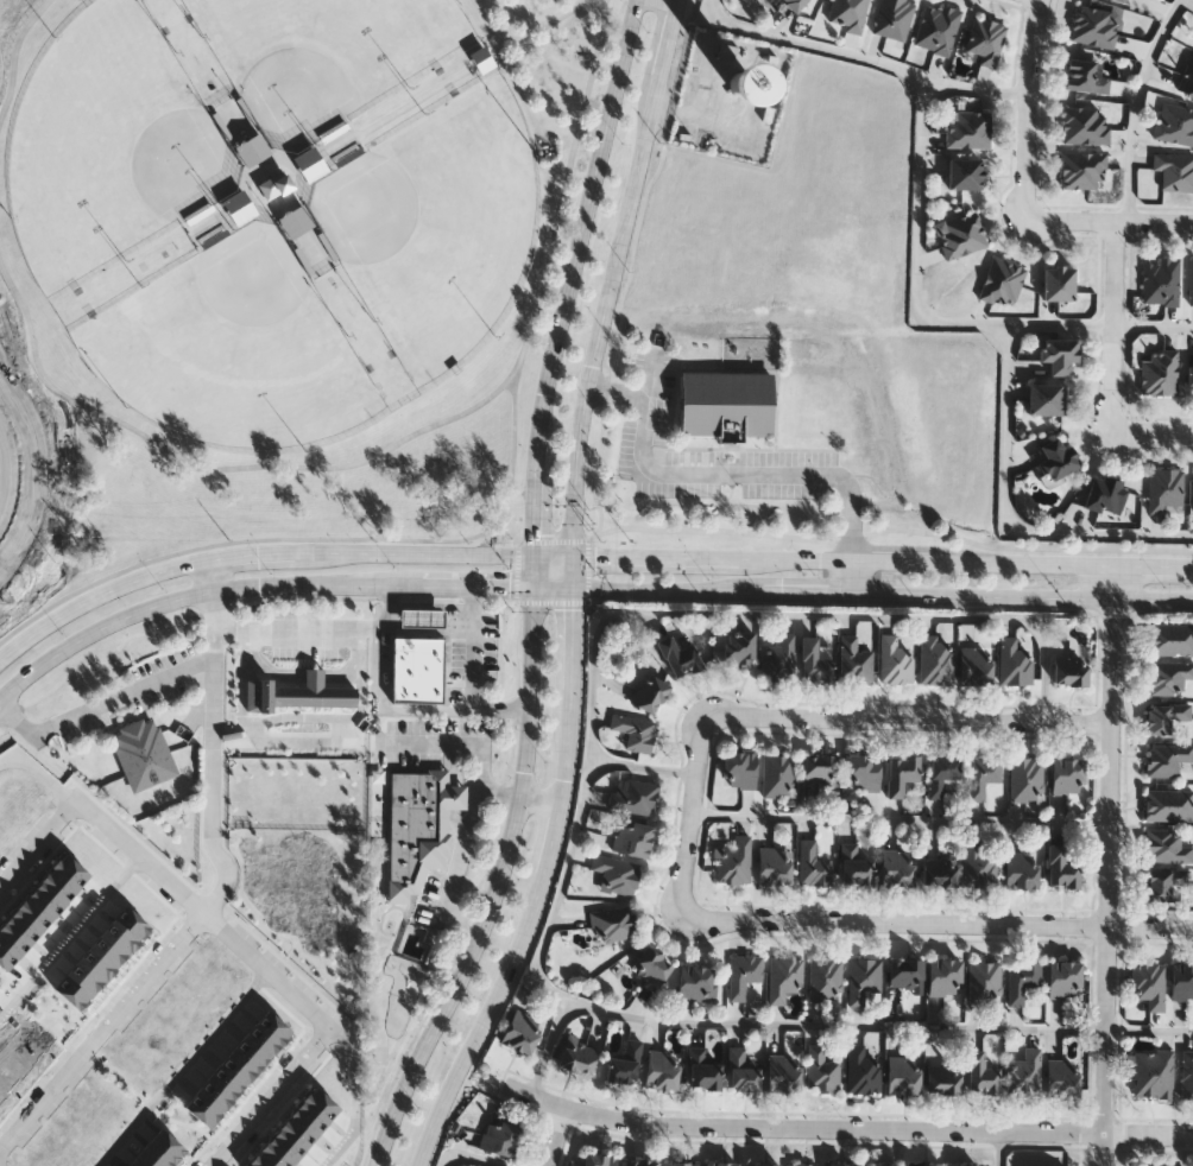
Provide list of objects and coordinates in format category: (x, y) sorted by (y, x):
building: (1119, 0)
building: (795, 4)
building: (848, 14)
building: (892, 18)
road: (487, 24)
road: (506, 25)
road: (541, 25)
building: (1093, 26)
building: (936, 27)
building: (985, 40)
park: (327, 56)
road: (861, 58)
road: (15, 59)
building: (484, 62)
building: (1084, 77)
building: (1186, 80)
building: (750, 89)
water tower: (741, 95)
road: (1134, 104)
road: (1025, 106)
road: (397, 114)
building: (1174, 125)
building: (1084, 127)
building: (967, 131)
park: (111, 148)
building: (255, 151)
building: (313, 166)
building: (1081, 171)
building: (1174, 172)
building: (965, 173)
building: (274, 190)
road: (255, 201)
building: (241, 210)
road: (1110, 218)
building: (298, 223)
road: (582, 223)
park: (441, 226)
building: (961, 235)
park: (286, 256)
road: (626, 266)
building: (1002, 283)
building: (1160, 283)
building: (1191, 283)
building: (1059, 284)
road: (608, 292)
road: (1113, 322)
road: (933, 324)
park: (235, 351)
building: (701, 351)
building: (1058, 355)
building: (1159, 374)
building: (1189, 376)
stadium: (4, 382)
building: (1047, 400)
road: (617, 403)
building: (726, 404)
road: (1154, 430)
road: (398, 444)
road: (511, 450)
building: (1056, 458)
parking lot: (718, 461)
road: (33, 468)
road: (686, 481)
building: (1163, 489)
building: (1105, 495)
road: (535, 503)
road: (1010, 513)
road: (857, 515)
road: (892, 531)
road: (592, 538)
road: (550, 539)
road: (244, 549)
road: (253, 555)
traffic signals: (534, 558)
road: (551, 558)
traffic signals: (569, 559)
road: (880, 559)
road: (587, 571)
road: (534, 572)
road: (513, 574)
road: (209, 576)
road: (854, 576)
road: (476, 585)
traffic signals: (534, 587)
road: (551, 588)
traffic signals: (569, 589)
road: (667, 590)
road: (809, 592)
road: (196, 595)
road: (1023, 595)
road: (549, 603)
road: (442, 613)
road: (799, 613)
building: (423, 620)
road: (293, 629)
building: (1170, 638)
building: (739, 647)
building: (680, 653)
building: (778, 658)
building: (936, 658)
building: (854, 659)
building: (895, 659)
building: (814, 661)
building: (1014, 661)
road: (471, 665)
building: (976, 666)
building: (1071, 668)
building: (417, 671)
building: (1168, 676)
building: (650, 692)
building: (292, 697)
road: (121, 698)
road: (389, 711)
building: (1164, 716)
road: (814, 717)
road: (15, 722)
building: (635, 730)
road: (452, 744)
road: (299, 750)
building: (140, 755)
road: (208, 756)
building: (1166, 758)
road: (643, 766)
building: (821, 768)
building: (739, 769)
building: (864, 772)
building: (902, 772)
building: (941, 773)
building: (777, 774)
building: (983, 774)
building: (1068, 774)
road: (36, 778)
building: (1025, 778)
building: (631, 794)
building: (1168, 804)
road: (513, 818)
road: (901, 819)
building: (417, 828)
building: (633, 837)
road: (461, 838)
road: (38, 843)
building: (1166, 845)
building: (776, 857)
building: (733, 861)
road: (1109, 863)
building: (813, 864)
building: (856, 864)
building: (978, 864)
building: (1061, 866)
building: (897, 867)
building: (67, 868)
building: (1022, 869)
building: (617, 872)
building: (939, 873)
building: (56, 881)
building: (1163, 883)
road: (561, 886)
road: (536, 887)
building: (44, 895)
road: (246, 908)
building: (32, 910)
road: (204, 912)
building: (128, 921)
building: (20, 923)
building: (612, 923)
road: (940, 923)
building: (116, 936)
building: (11, 938)
road: (70, 939)
building: (105, 950)
building: (5, 956)
building: (93, 964)
building: (652, 965)
building: (905, 971)
building: (743, 972)
building: (945, 975)
building: (784, 976)
building: (80, 977)
building: (825, 977)
building: (864, 977)
building: (1065, 977)
building: (1022, 978)
building: (1182, 980)
building: (985, 981)
building: (696, 982)
building: (1149, 983)
building: (69, 991)
road: (835, 1024)
building: (269, 1026)
building: (37, 1031)
building: (520, 1031)
road: (1149, 1031)
road: (102, 1033)
building: (258, 1039)
building: (24, 1044)
road: (550, 1046)
building: (577, 1052)
building: (246, 1053)
building: (13, 1058)
building: (625, 1062)
building: (234, 1066)
road: (185, 1067)
building: (703, 1067)
building: (662, 1069)
building: (822, 1069)
building: (863, 1069)
building: (740, 1070)
building: (1024, 1070)
road: (485, 1071)
building: (783, 1072)
building: (981, 1072)
building: (1153, 1072)
building: (1187, 1072)
building: (903, 1075)
building: (7, 1076)
building: (1062, 1077)
building: (943, 1078)
building: (222, 1081)
building: (2, 1091)
building: (210, 1095)
road: (273, 1096)
road: (351, 1098)
road: (400, 1100)
building: (315, 1104)
building: (198, 1109)
building: (304, 1119)
road: (846, 1128)
building: (292, 1133)
building: (500, 1134)
road: (560, 1139)
building: (166, 1147)
building: (280, 1147)
road: (999, 1149)
building: (266, 1157)
building: (152, 1158)
road: (473, 1158)
building: (599, 1159)
building: (640, 1161)
building: (137, 1162)
building: (252, 1162)
building: (681, 1162)
building: (722, 1162)
building: (763, 1164)
building: (802, 1164)
building: (842, 1164)
building: (882, 1164)
building: (923, 1164)
building: (964, 1165)
building: (1044, 1165)

